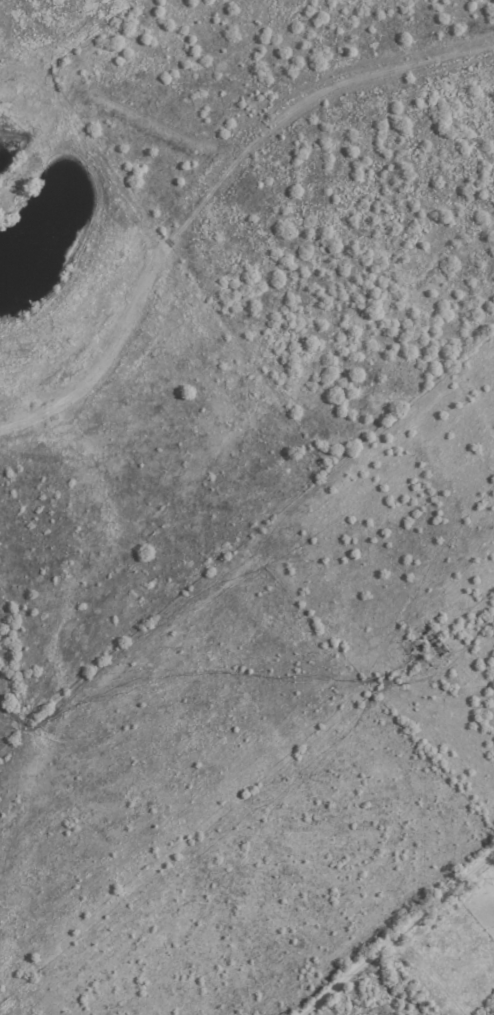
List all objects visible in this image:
road: (484, 876)
road: (395, 932)

